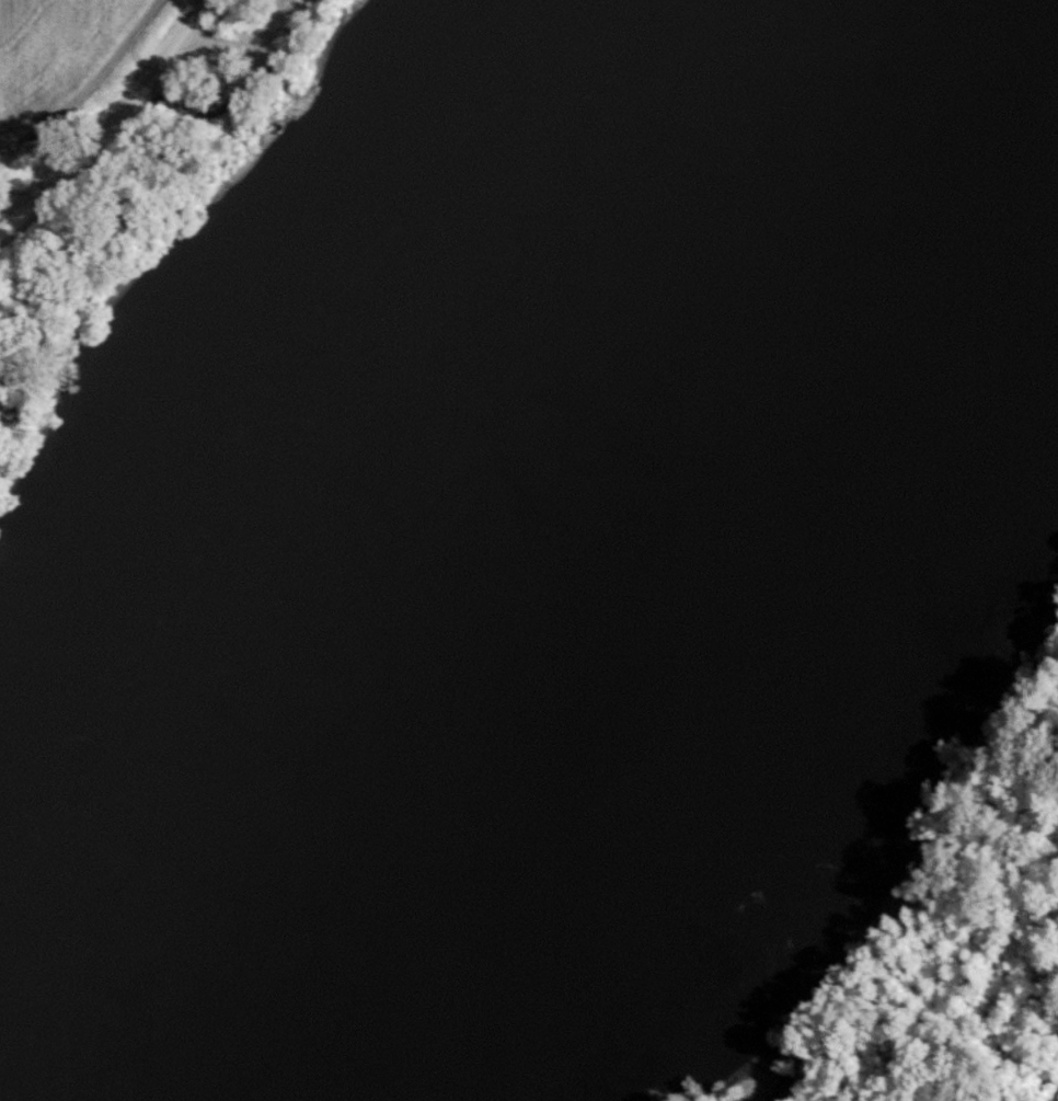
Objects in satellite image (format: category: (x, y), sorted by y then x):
road: (120, 134)
river: (445, 501)

